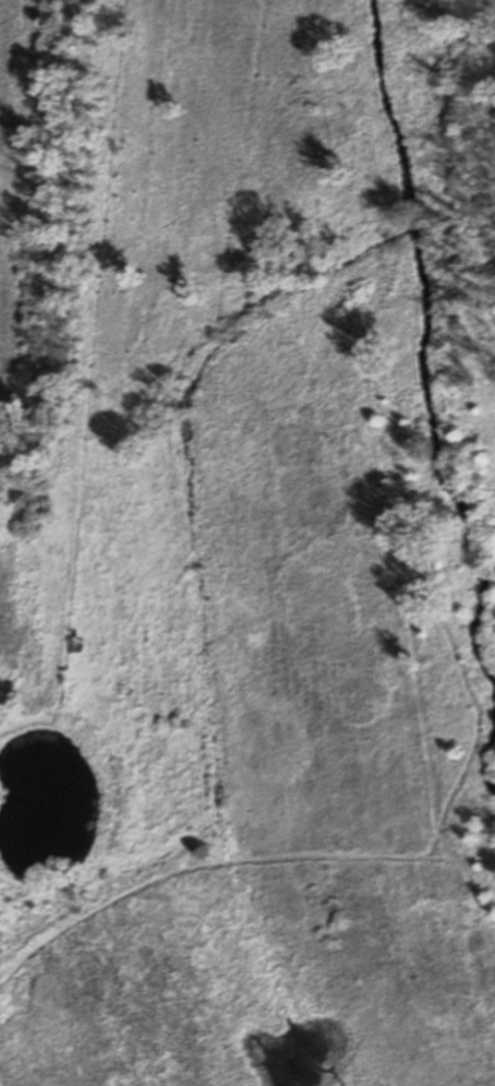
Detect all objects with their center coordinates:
building: (77, 645)

